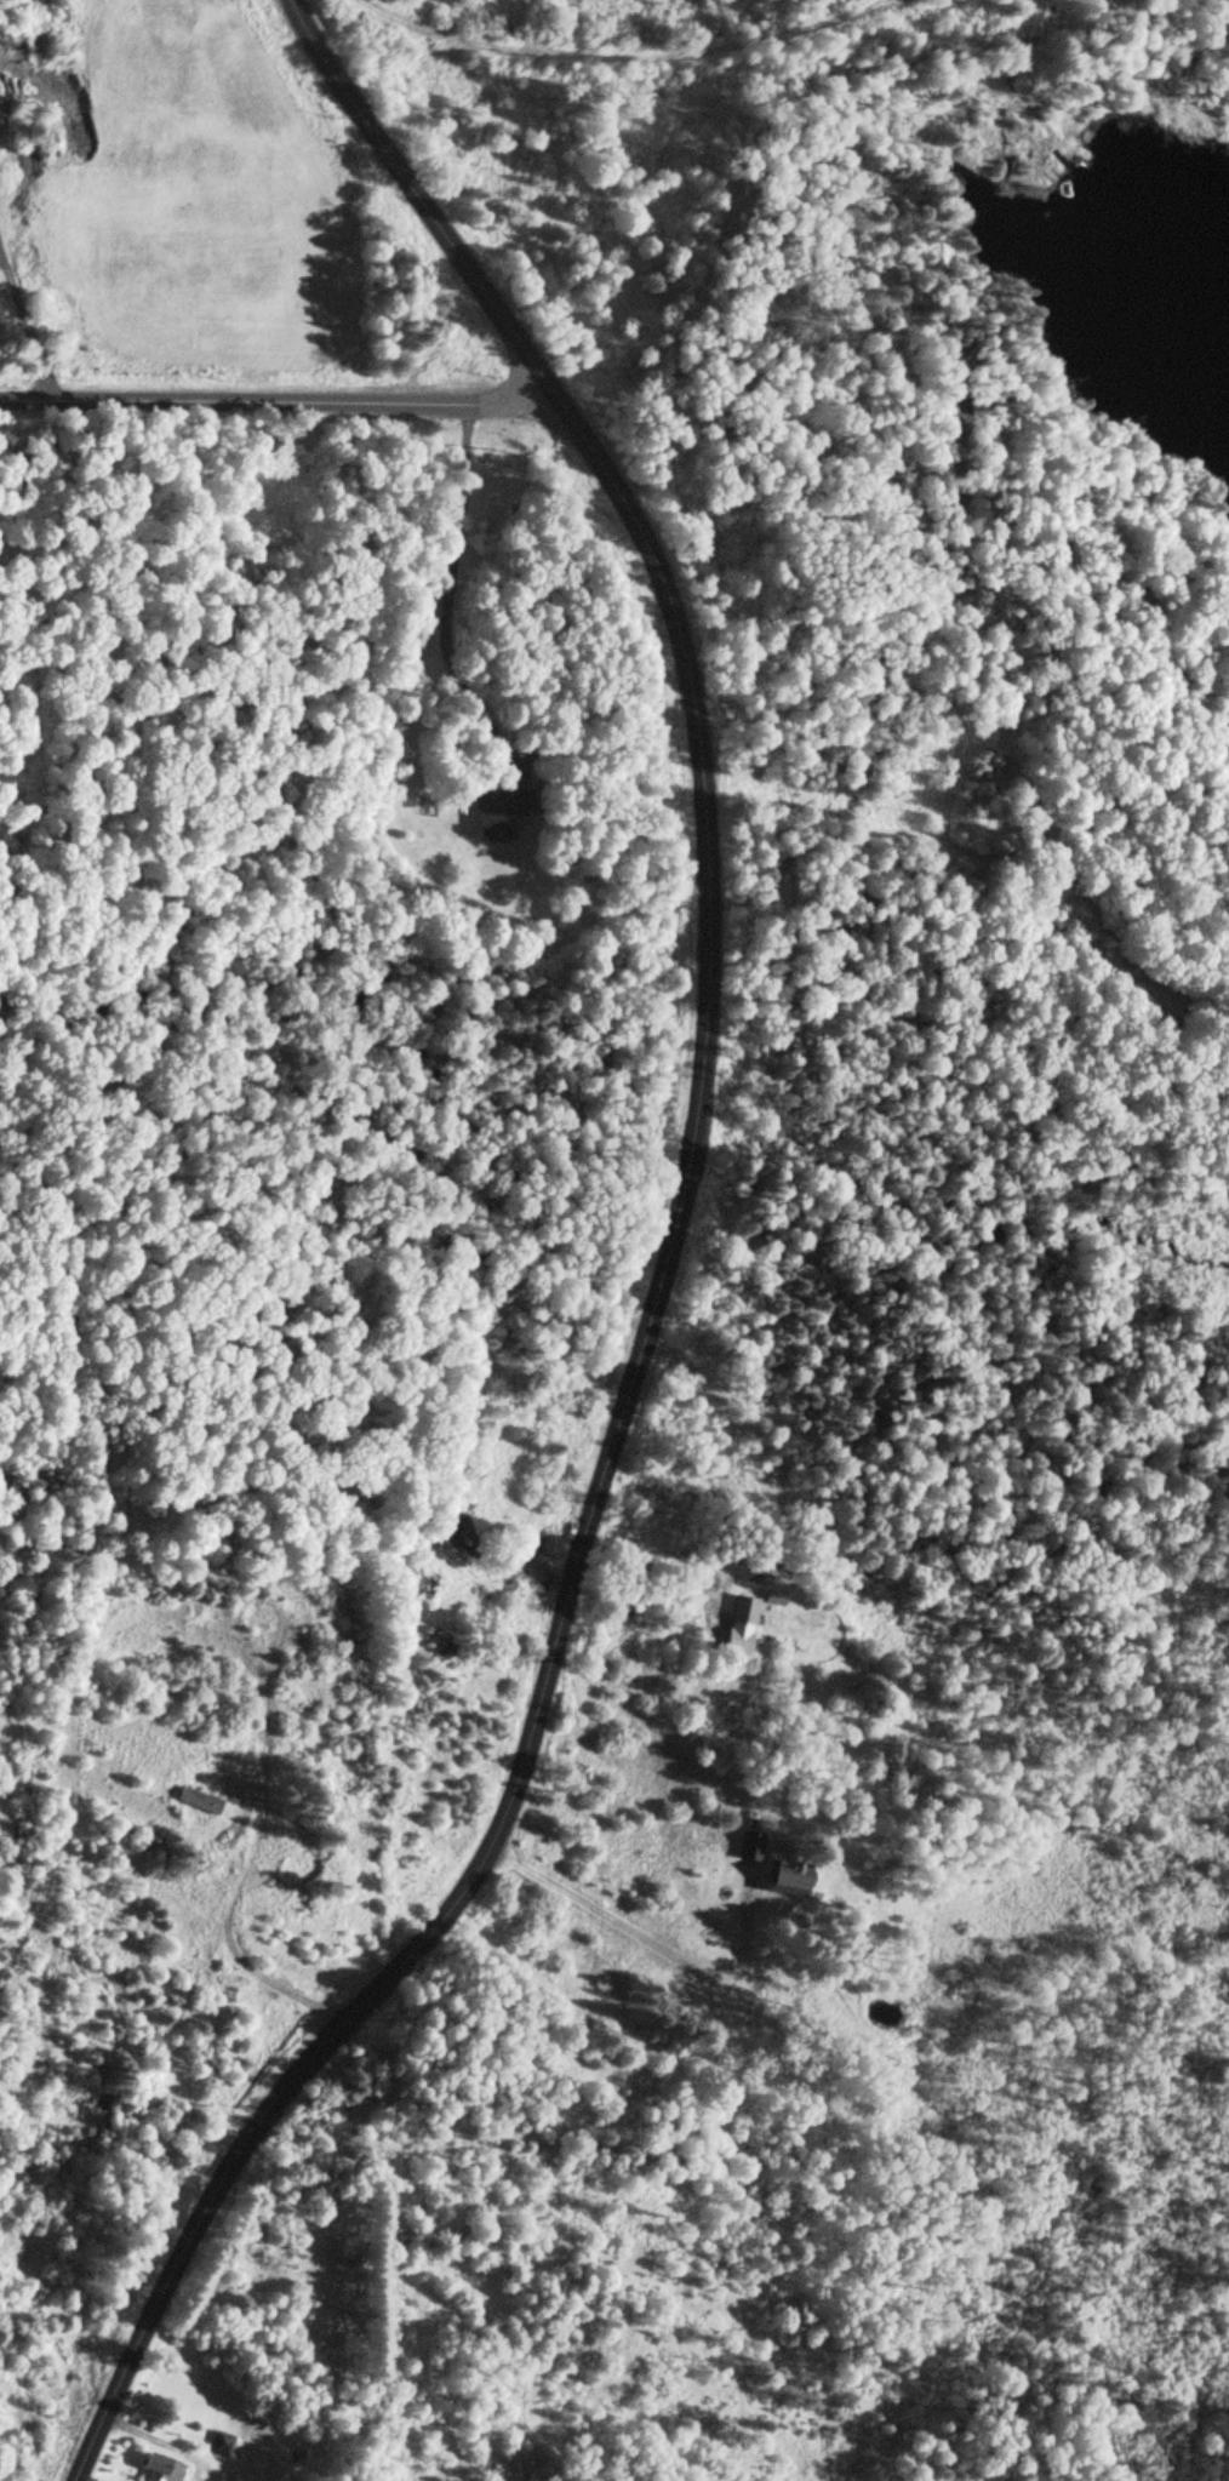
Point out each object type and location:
road: (223, 393)
road: (496, 398)
building: (509, 811)
building: (1148, 996)
road: (669, 1262)
building: (773, 1599)
building: (742, 1611)
building: (450, 1643)
building: (206, 1799)
building: (770, 1868)
road: (641, 1936)
building: (228, 2443)
building: (171, 2468)

